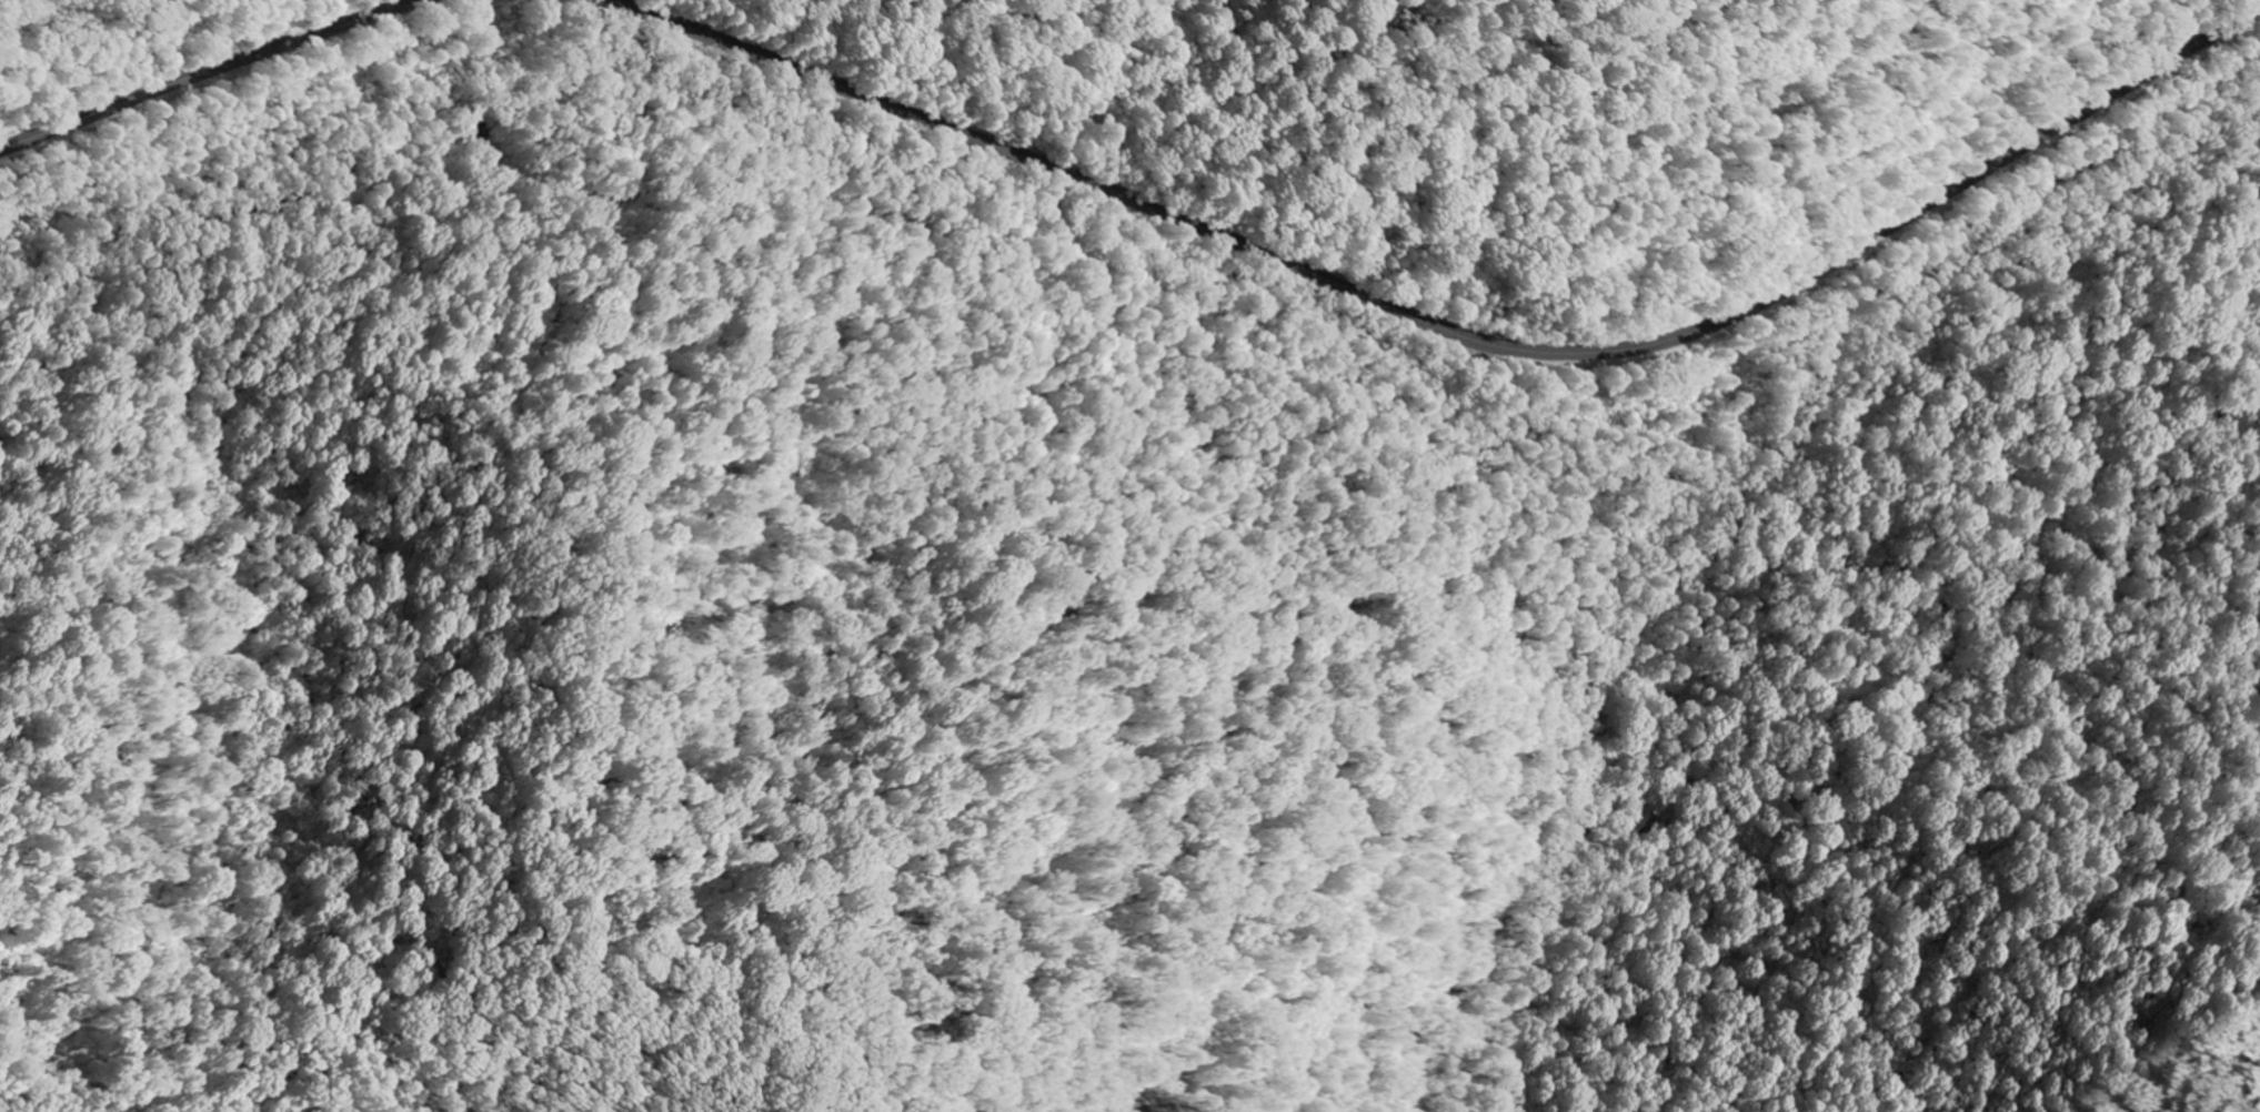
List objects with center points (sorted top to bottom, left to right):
road: (215, 60)
road: (1453, 332)

